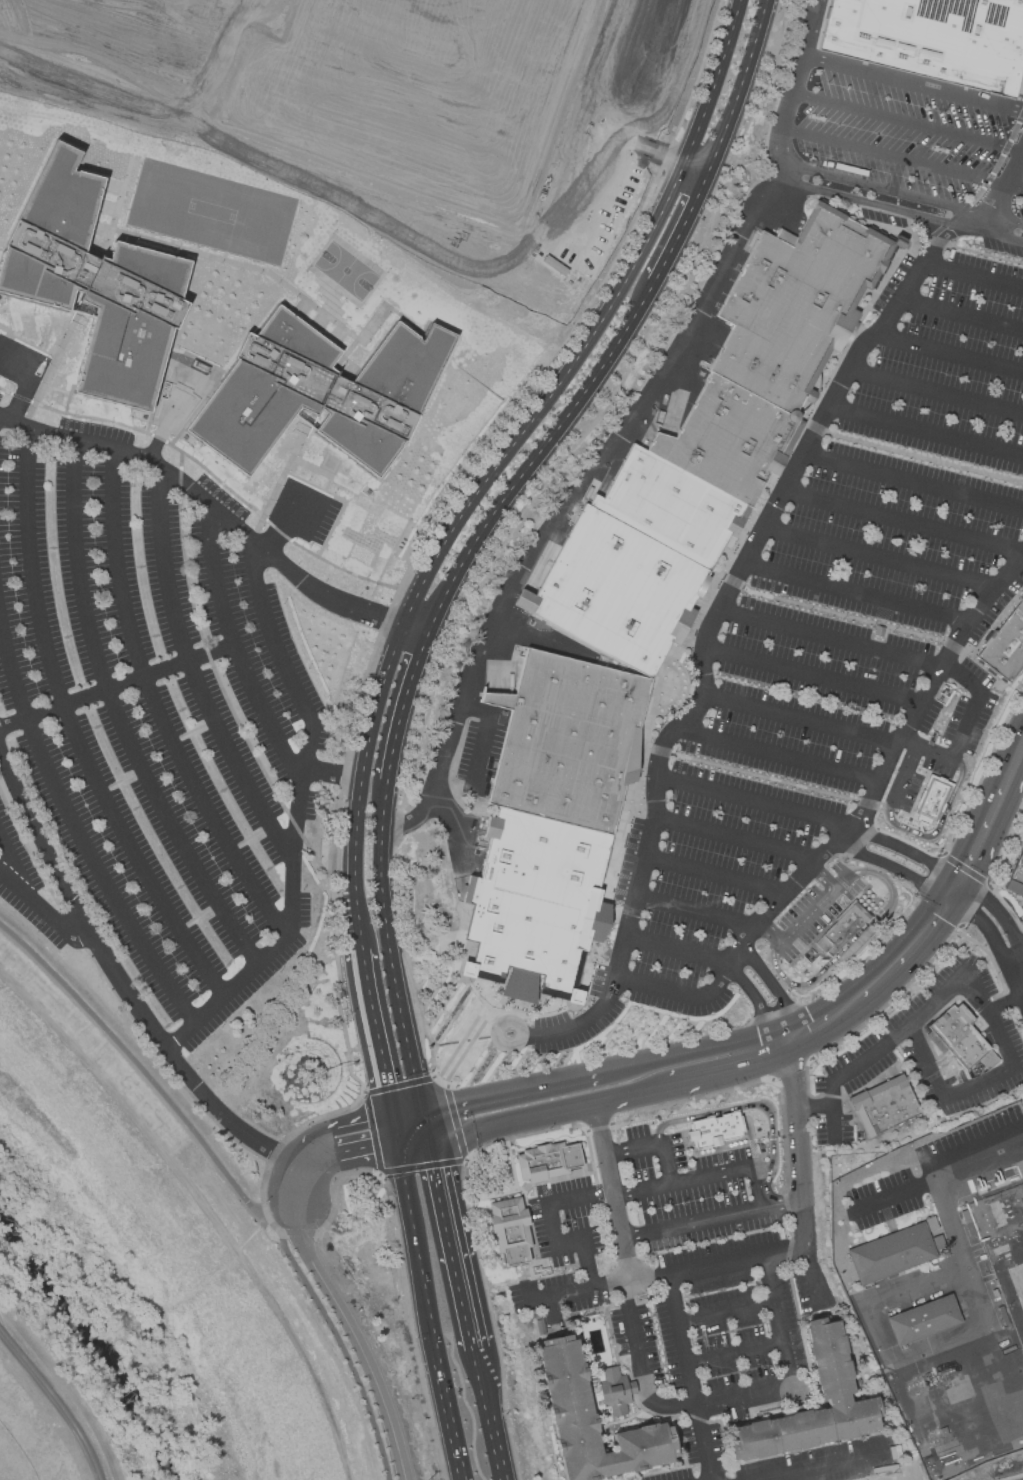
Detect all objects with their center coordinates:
road: (191, 0)
road: (211, 8)
road: (236, 8)
road: (263, 21)
building: (941, 24)
road: (133, 31)
road: (916, 49)
road: (216, 65)
building: (421, 85)
road: (739, 87)
road: (791, 88)
road: (912, 89)
road: (906, 120)
road: (573, 125)
road: (902, 158)
road: (307, 166)
road: (1005, 183)
road: (902, 194)
road: (903, 210)
road: (680, 228)
road: (968, 249)
road: (973, 274)
building: (98, 295)
road: (961, 316)
road: (948, 352)
road: (936, 391)
building: (328, 393)
road: (925, 430)
road: (508, 451)
building: (711, 451)
road: (142, 455)
road: (535, 458)
road: (329, 471)
road: (912, 483)
road: (567, 503)
road: (282, 521)
road: (902, 522)
road: (877, 557)
road: (854, 592)
road: (338, 597)
road: (996, 623)
road: (827, 637)
road: (704, 638)
road: (234, 646)
road: (421, 649)
building: (1006, 650)
road: (194, 674)
road: (810, 676)
road: (116, 686)
road: (922, 693)
road: (156, 706)
road: (118, 717)
road: (800, 718)
parking lot: (156, 726)
road: (966, 726)
road: (73, 728)
road: (396, 729)
road: (485, 729)
road: (776, 756)
road: (1013, 766)
road: (333, 771)
road: (902, 777)
road: (756, 800)
building: (928, 801)
road: (295, 818)
road: (410, 821)
building: (556, 823)
road: (941, 823)
road: (74, 826)
road: (986, 828)
road: (735, 837)
road: (901, 851)
road: (889, 866)
road: (12, 868)
road: (957, 871)
traffic signals: (948, 876)
road: (823, 877)
road: (967, 877)
road: (713, 880)
building: (1016, 880)
road: (957, 882)
road: (941, 885)
traffic signals: (967, 888)
traffic signals: (936, 895)
road: (962, 897)
road: (947, 900)
traffic signals: (958, 906)
road: (41, 909)
road: (810, 910)
road: (694, 913)
road: (998, 913)
building: (839, 930)
road: (988, 933)
road: (767, 935)
road: (360, 941)
road: (852, 946)
road: (678, 947)
road: (739, 953)
road: (887, 955)
road: (390, 956)
road: (1019, 957)
road: (915, 960)
road: (1019, 969)
road: (772, 982)
road: (124, 983)
road: (753, 998)
road: (1005, 1005)
road: (982, 1007)
road: (812, 1013)
road: (373, 1020)
road: (785, 1027)
road: (804, 1032)
road: (826, 1034)
building: (964, 1040)
road: (778, 1045)
road: (687, 1054)
road: (727, 1075)
building: (1012, 1081)
traffic signals: (385, 1084)
road: (512, 1091)
road: (388, 1100)
road: (744, 1106)
road: (830, 1107)
building: (888, 1108)
traffic signals: (424, 1111)
road: (408, 1114)
road: (549, 1114)
traffic signals: (392, 1118)
road: (354, 1124)
road: (427, 1126)
building: (713, 1129)
road: (394, 1132)
traffic signals: (395, 1133)
traffic signals: (430, 1141)
road: (653, 1143)
road: (413, 1144)
traffic signals: (397, 1148)
road: (359, 1152)
building: (549, 1164)
road: (301, 1167)
road: (705, 1176)
road: (228, 1180)
road: (799, 1181)
parking lot: (693, 1191)
road: (612, 1192)
road: (893, 1193)
road: (206, 1206)
road: (409, 1214)
road: (711, 1218)
road: (552, 1228)
road: (288, 1233)
building: (514, 1233)
road: (452, 1241)
road: (961, 1249)
building: (895, 1256)
road: (668, 1272)
parking lot: (344, 1275)
road: (725, 1311)
building: (928, 1323)
road: (356, 1337)
river: (97, 1341)
road: (734, 1352)
road: (476, 1354)
building: (825, 1363)
road: (689, 1376)
road: (440, 1381)
building: (566, 1383)
road: (67, 1384)
building: (615, 1391)
road: (722, 1396)
road: (492, 1423)
crop: (34, 1436)
road: (826, 1467)

